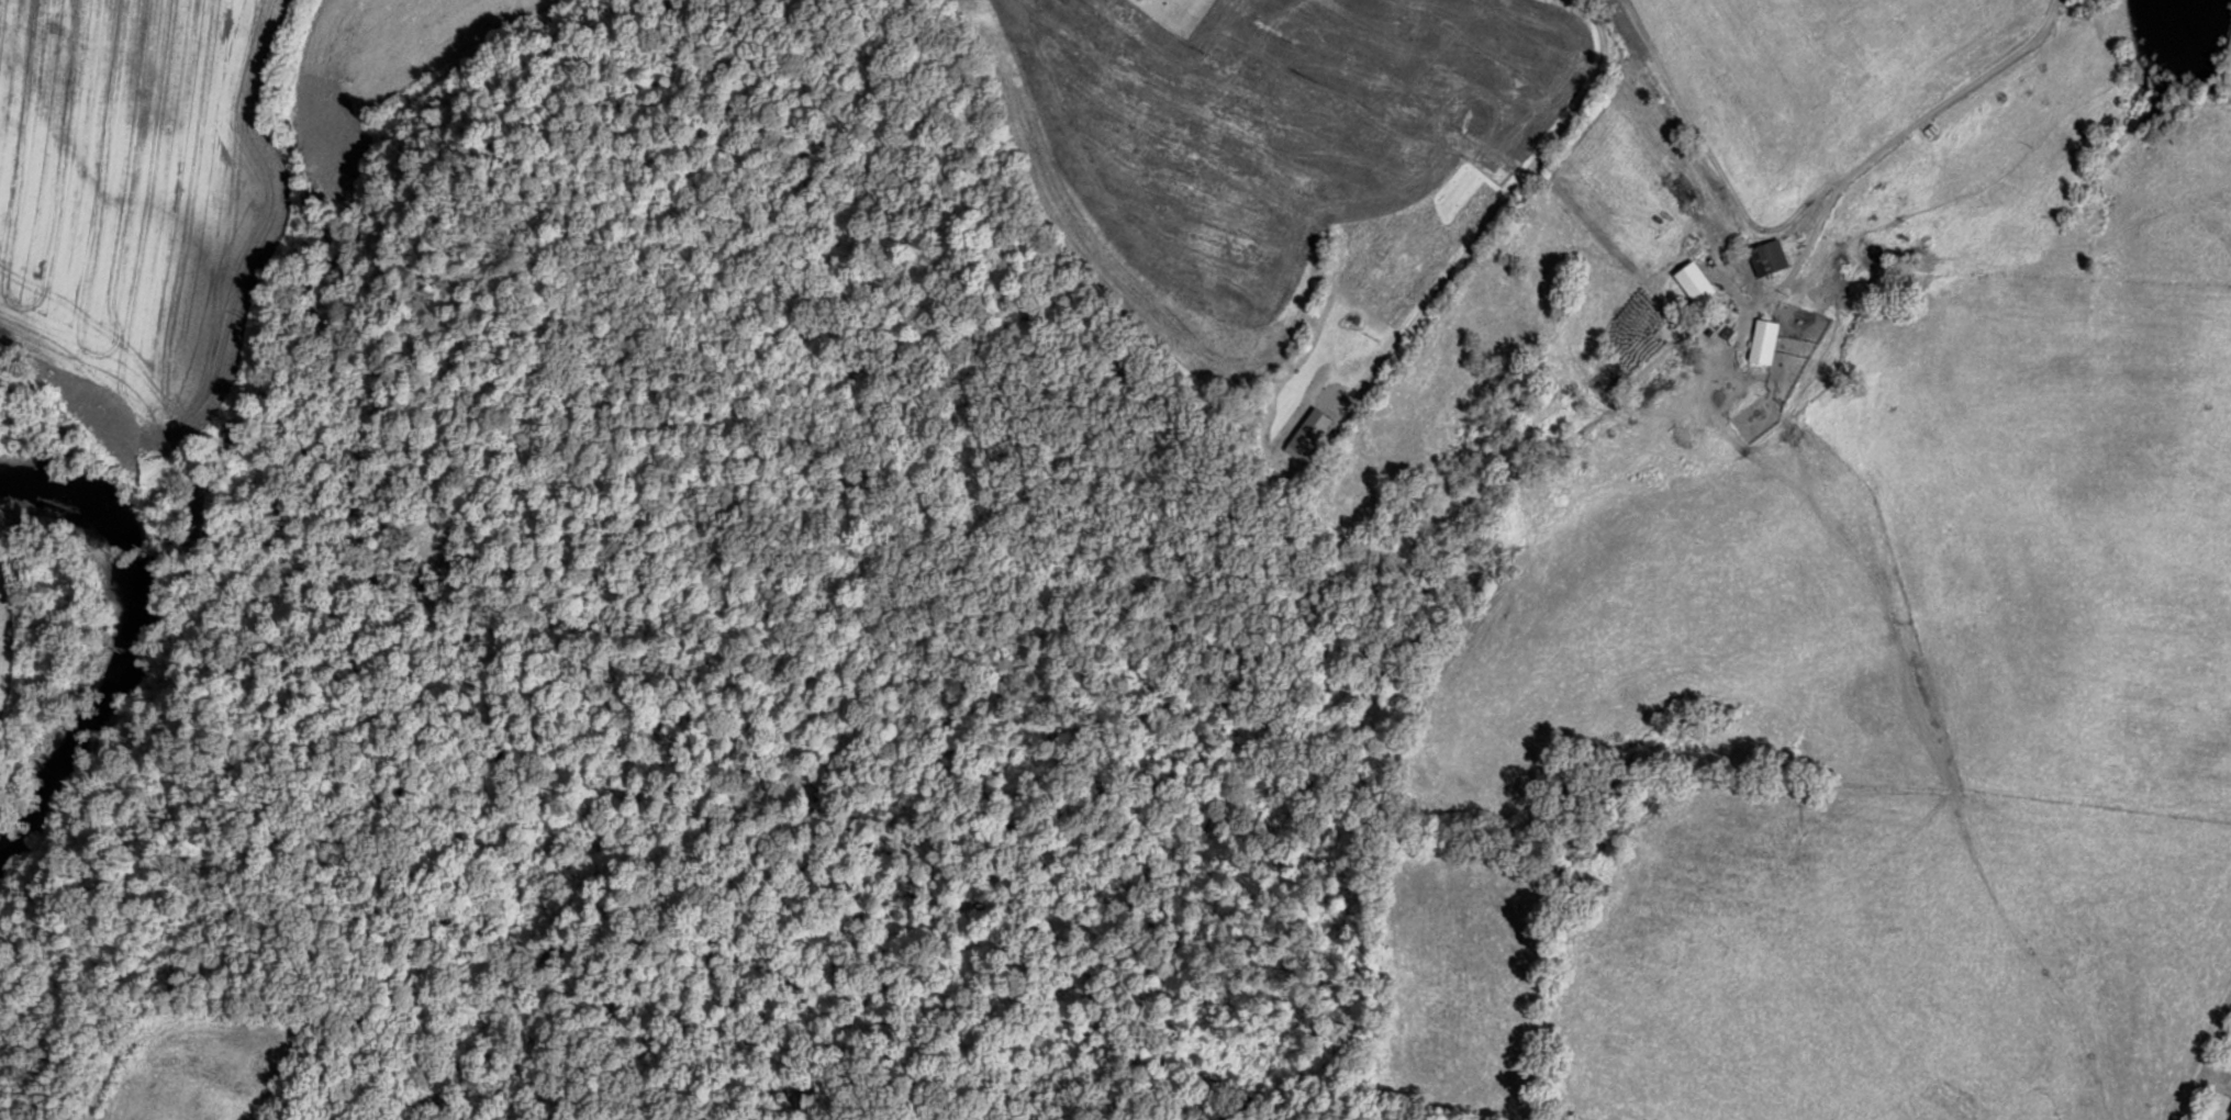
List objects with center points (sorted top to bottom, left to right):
road: (2018, 229)
building: (1764, 257)
building: (1797, 369)
building: (1731, 396)
river: (153, 651)
road: (2220, 1100)
building: (2229, 1115)

